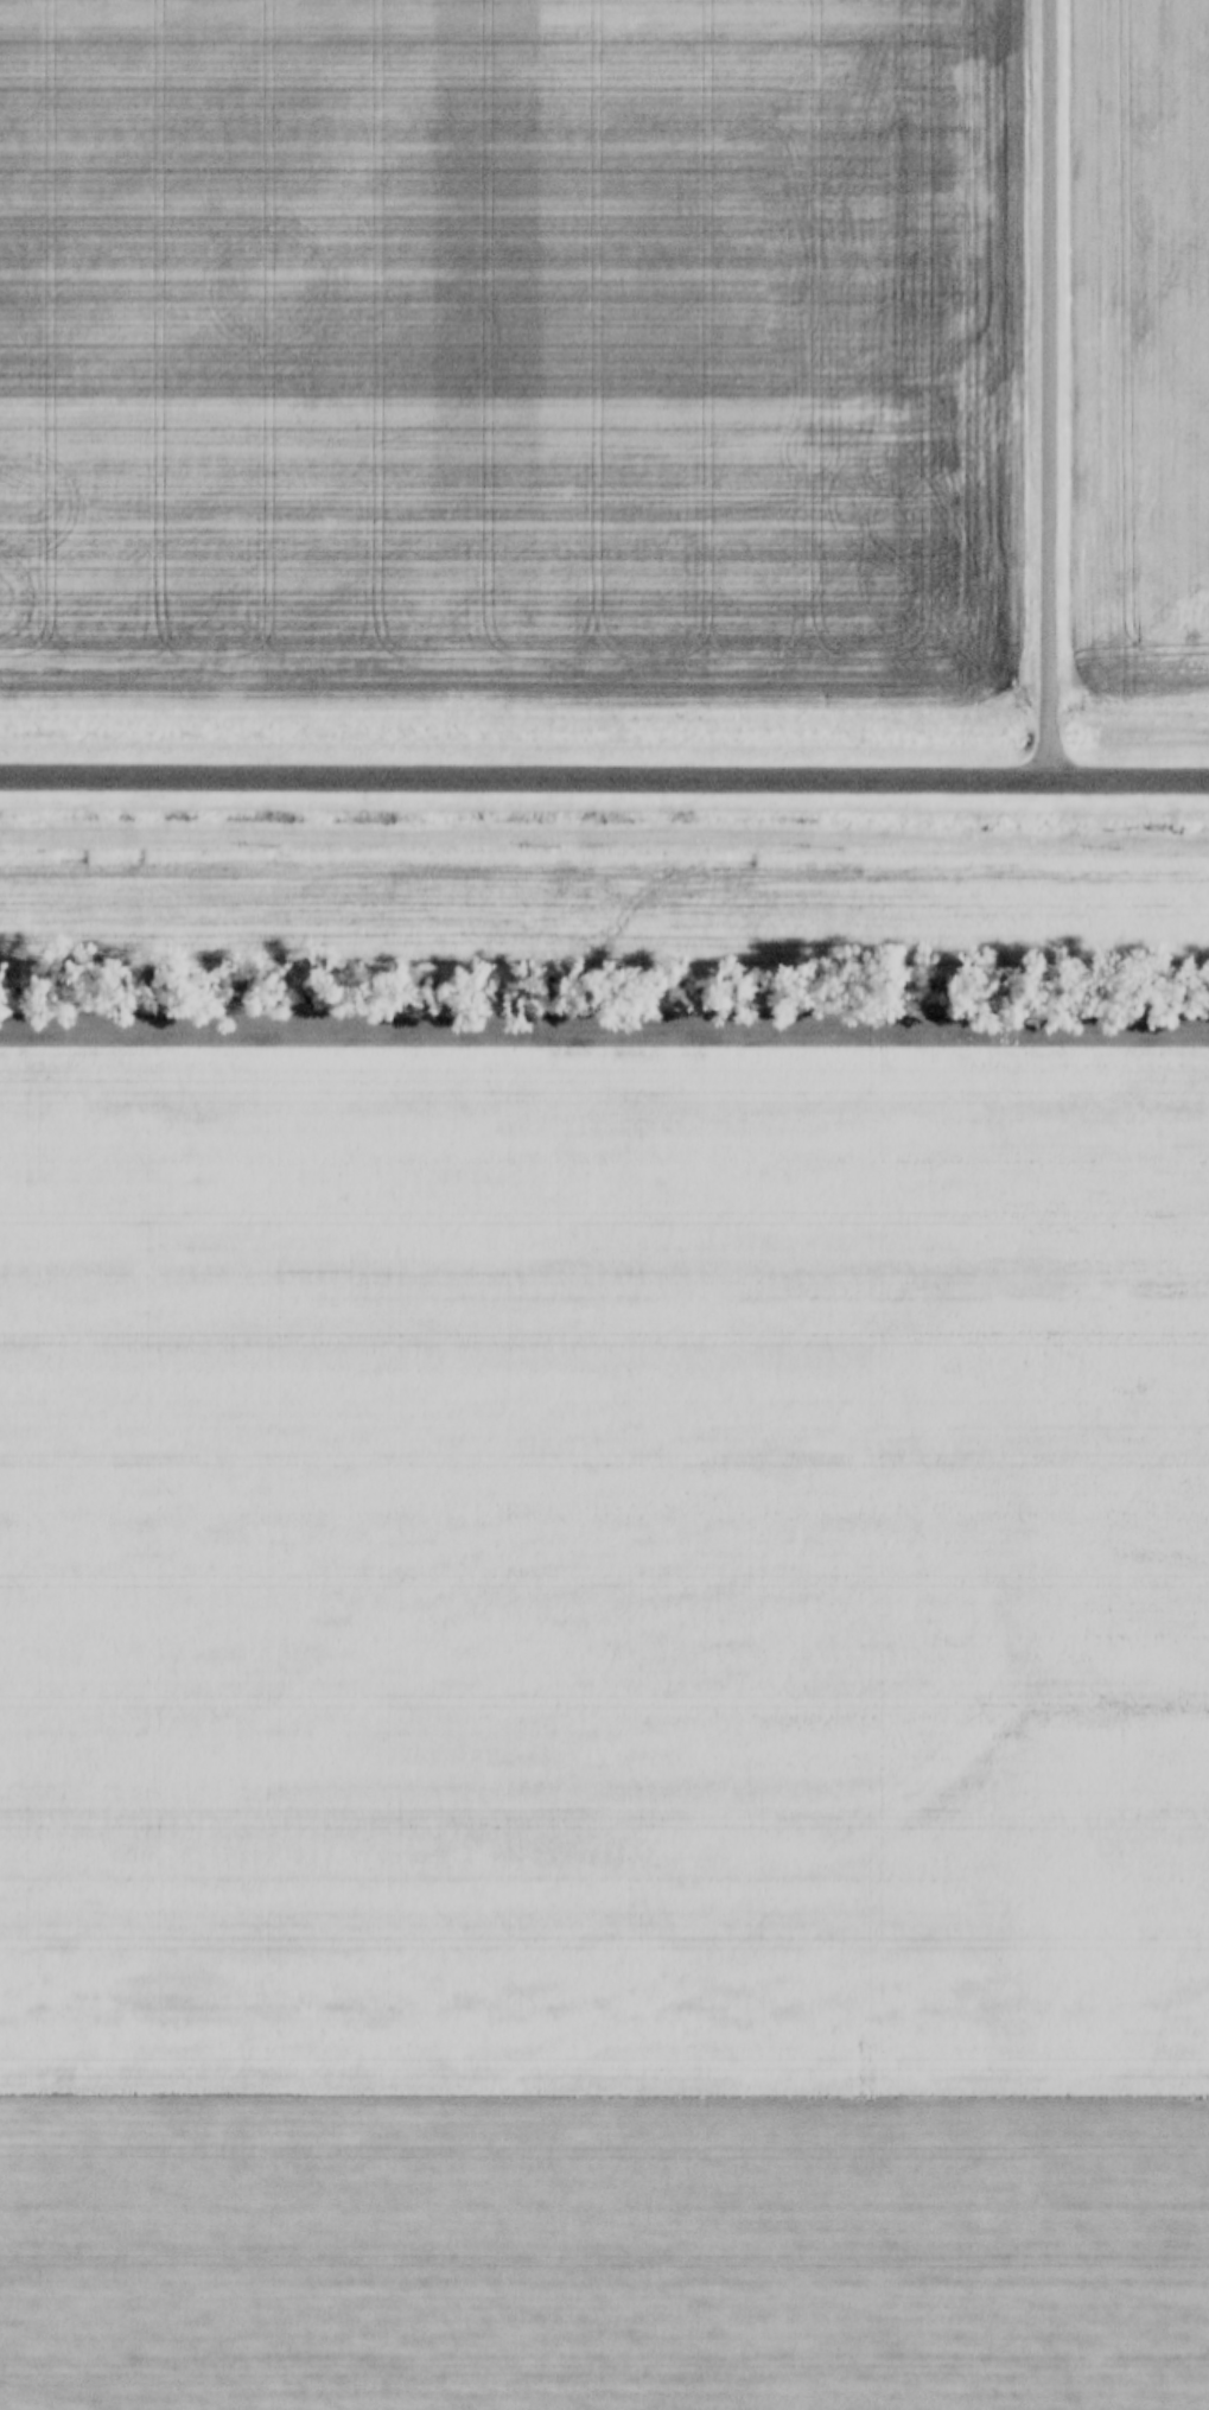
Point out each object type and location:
road: (1045, 390)
road: (604, 780)

